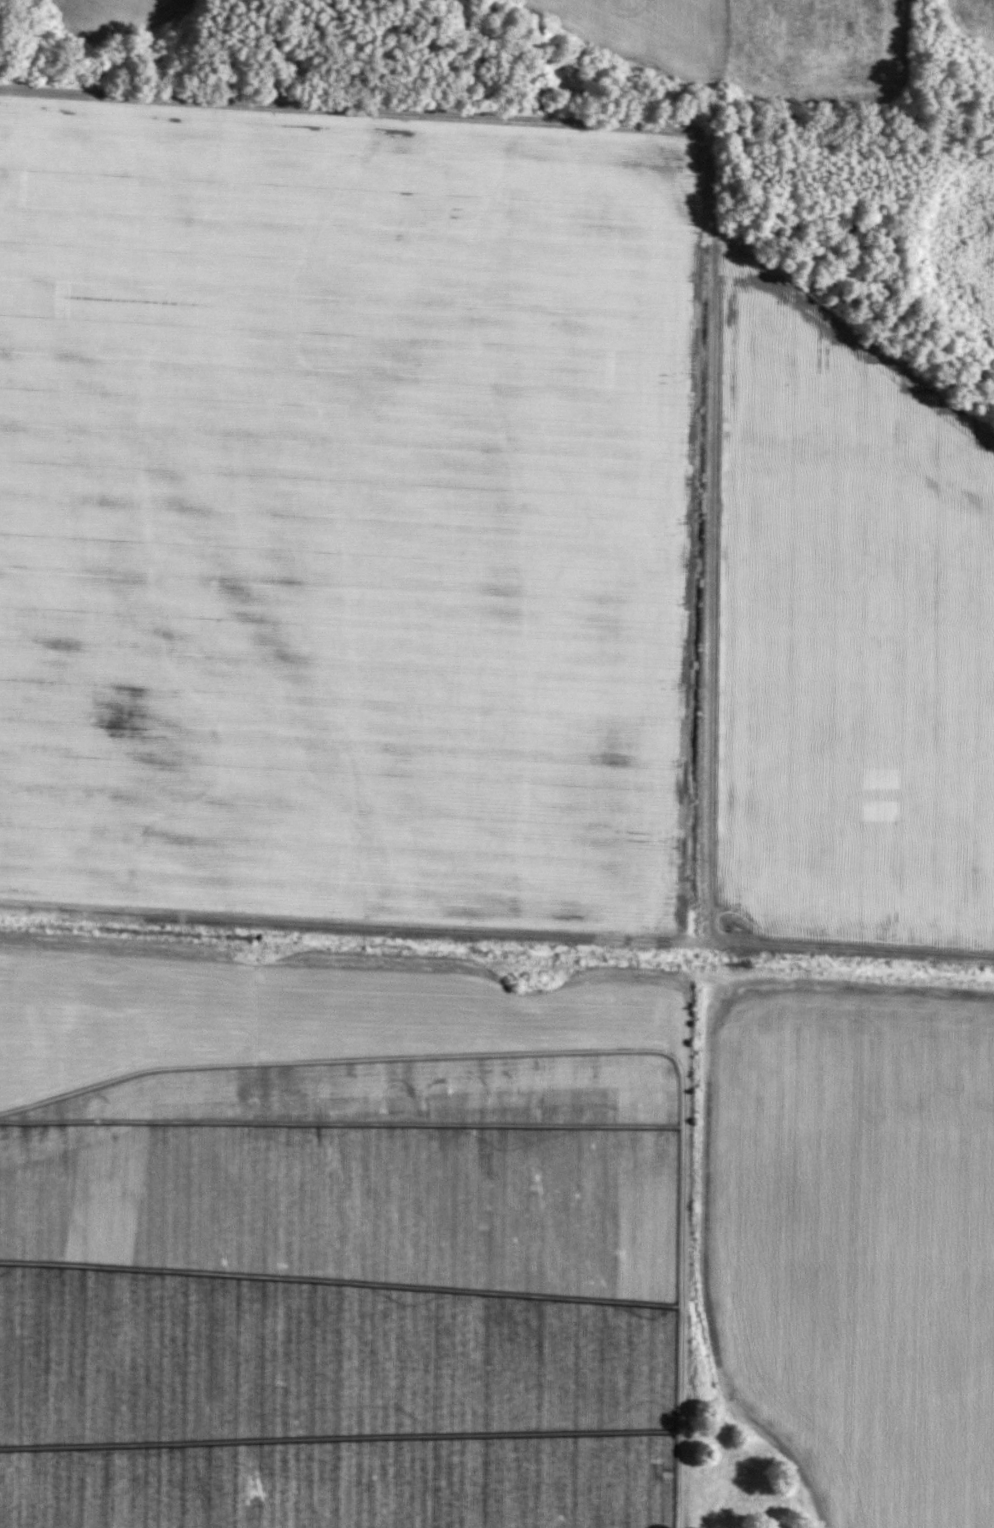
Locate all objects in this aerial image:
road: (497, 964)
road: (703, 1272)

